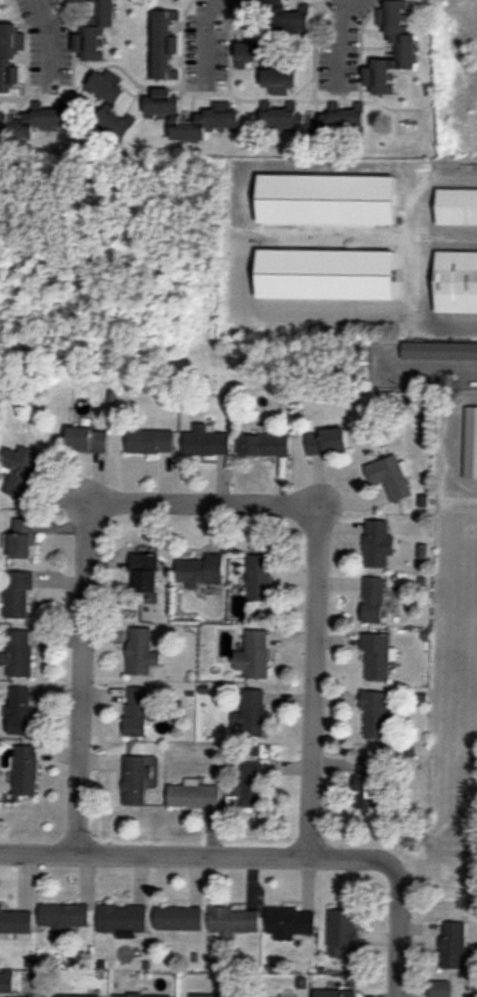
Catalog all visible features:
building: (81, 1)
building: (287, 16)
building: (95, 32)
road: (336, 38)
road: (208, 39)
road: (48, 44)
building: (167, 46)
building: (408, 48)
building: (10, 56)
building: (268, 68)
building: (112, 105)
building: (219, 116)
building: (33, 121)
building: (317, 123)
road: (423, 183)
building: (457, 207)
road: (421, 280)
building: (456, 282)
building: (434, 351)
road: (432, 373)
building: (88, 439)
building: (151, 441)
building: (328, 441)
building: (207, 442)
building: (265, 444)
building: (22, 471)
building: (390, 476)
road: (200, 500)
building: (24, 538)
building: (379, 543)
building: (202, 570)
building: (147, 571)
building: (259, 577)
building: (18, 594)
building: (375, 599)
building: (143, 652)
building: (19, 653)
building: (255, 655)
building: (378, 656)
road: (80, 677)
road: (314, 679)
building: (20, 710)
building: (252, 710)
building: (138, 711)
building: (376, 715)
building: (25, 771)
building: (136, 780)
building: (250, 788)
building: (195, 796)
road: (196, 855)
building: (64, 917)
building: (123, 918)
building: (179, 918)
building: (15, 921)
building: (233, 922)
building: (292, 923)
building: (343, 928)
road: (398, 929)
building: (455, 945)
building: (441, 988)
building: (336, 993)
building: (215, 994)
building: (142, 995)
building: (78, 996)

